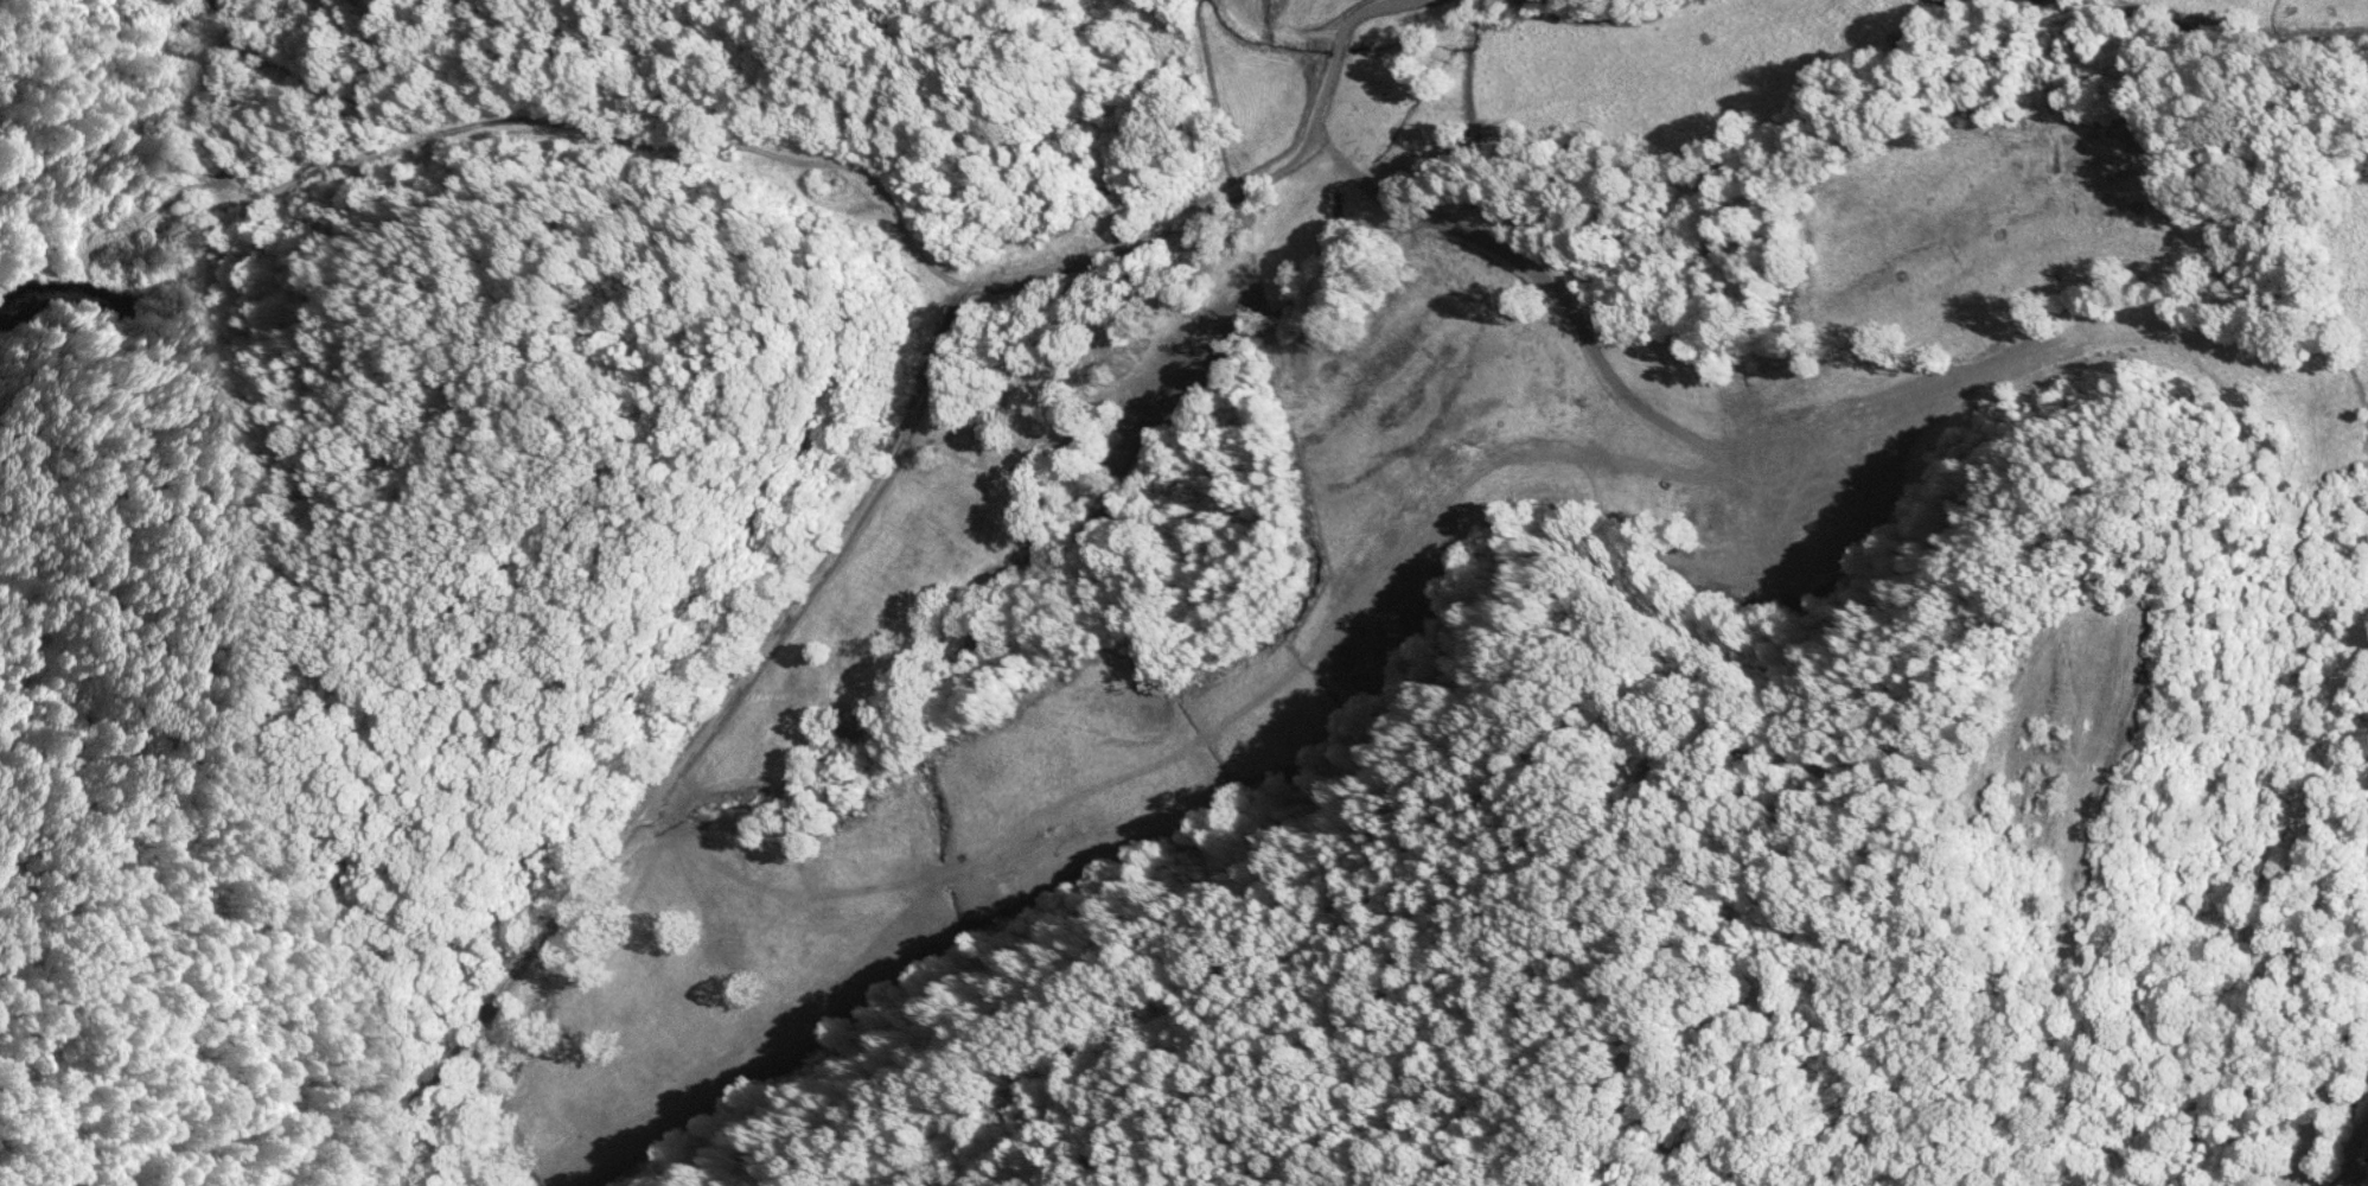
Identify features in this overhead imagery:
road: (9, 300)

